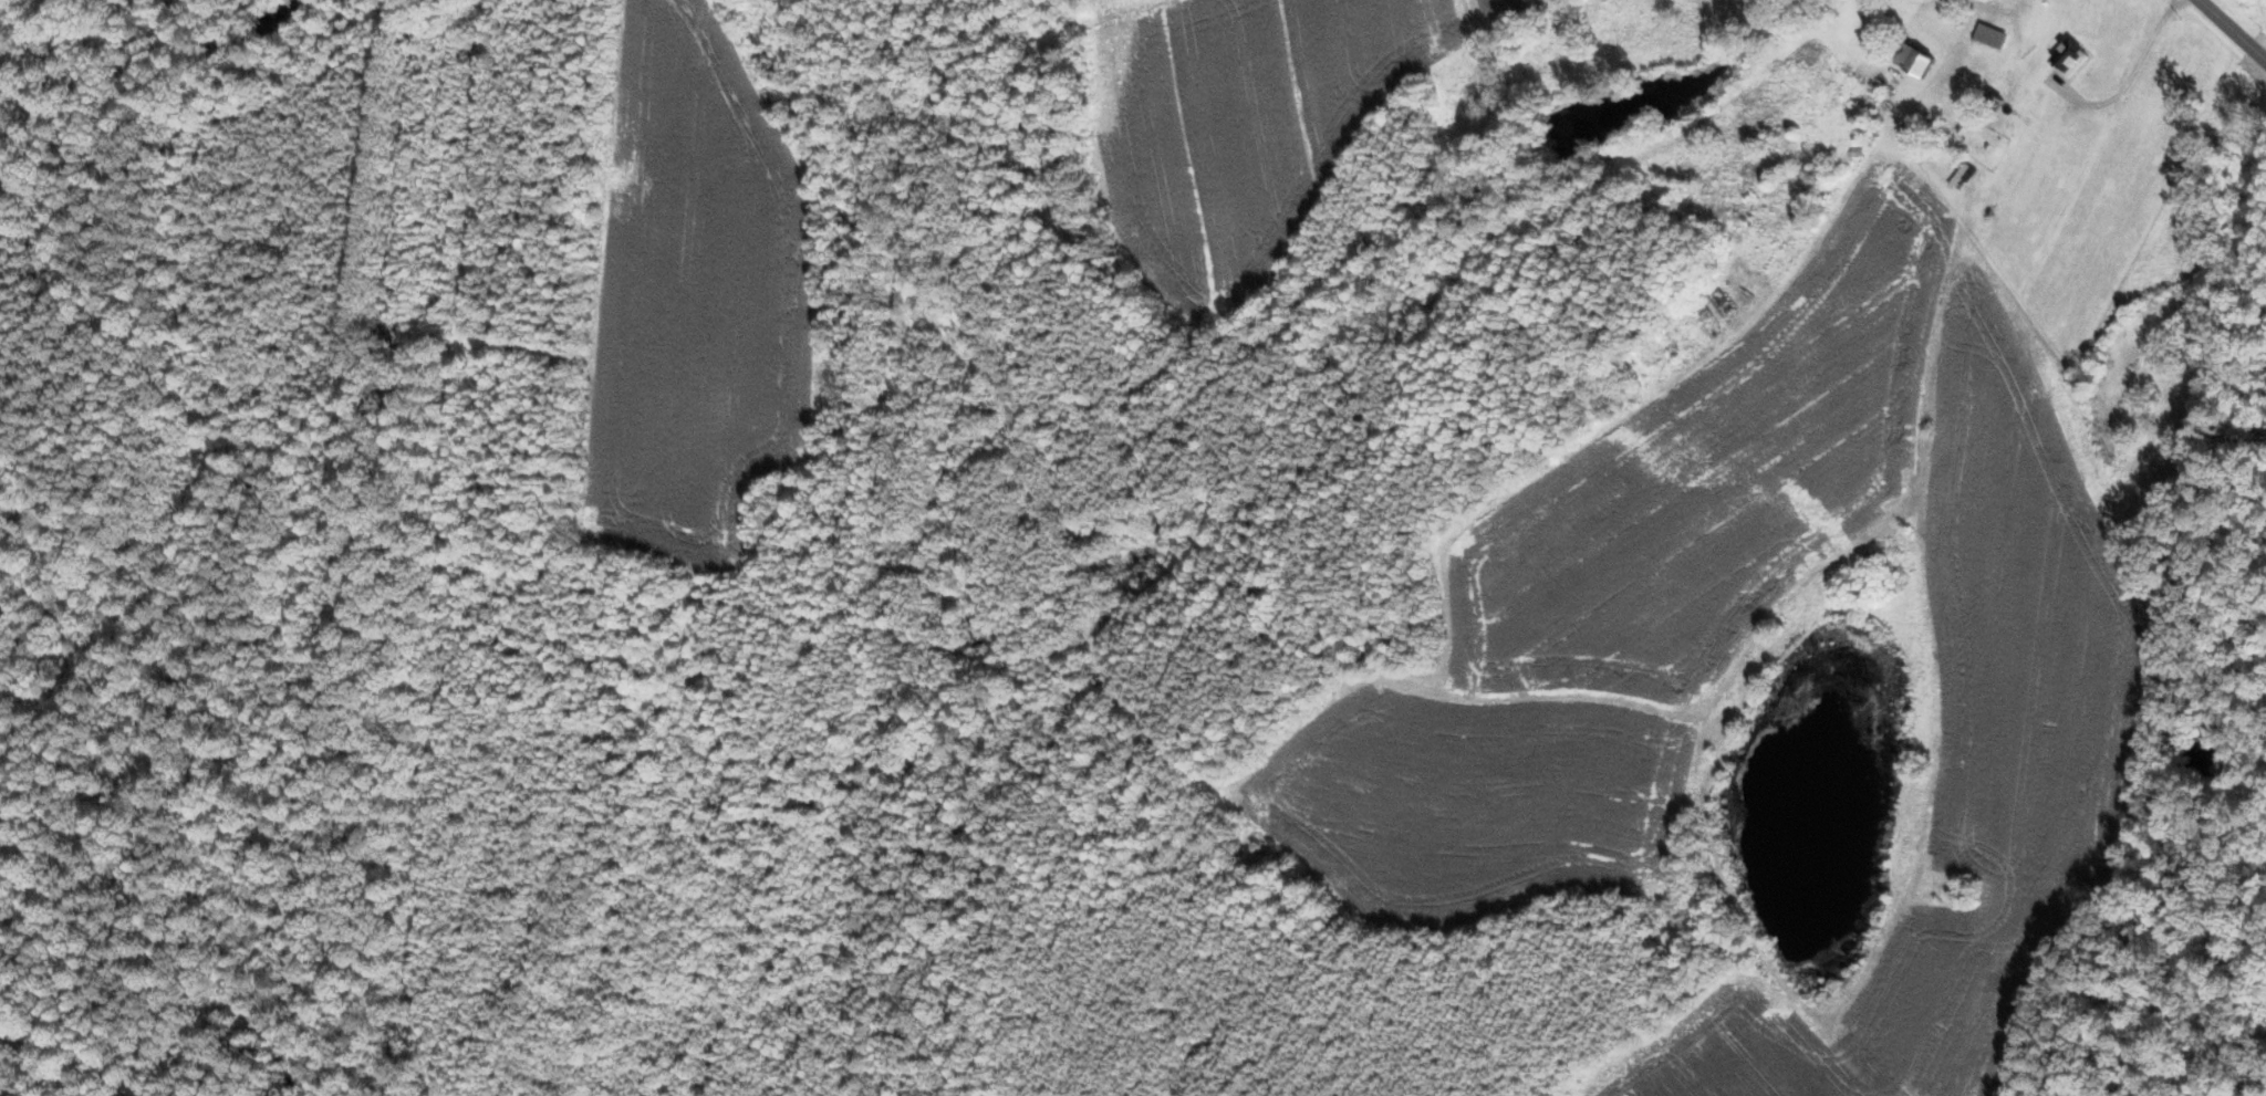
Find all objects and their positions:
road: (2232, 30)
building: (1988, 35)
building: (2067, 59)
building: (1912, 60)

